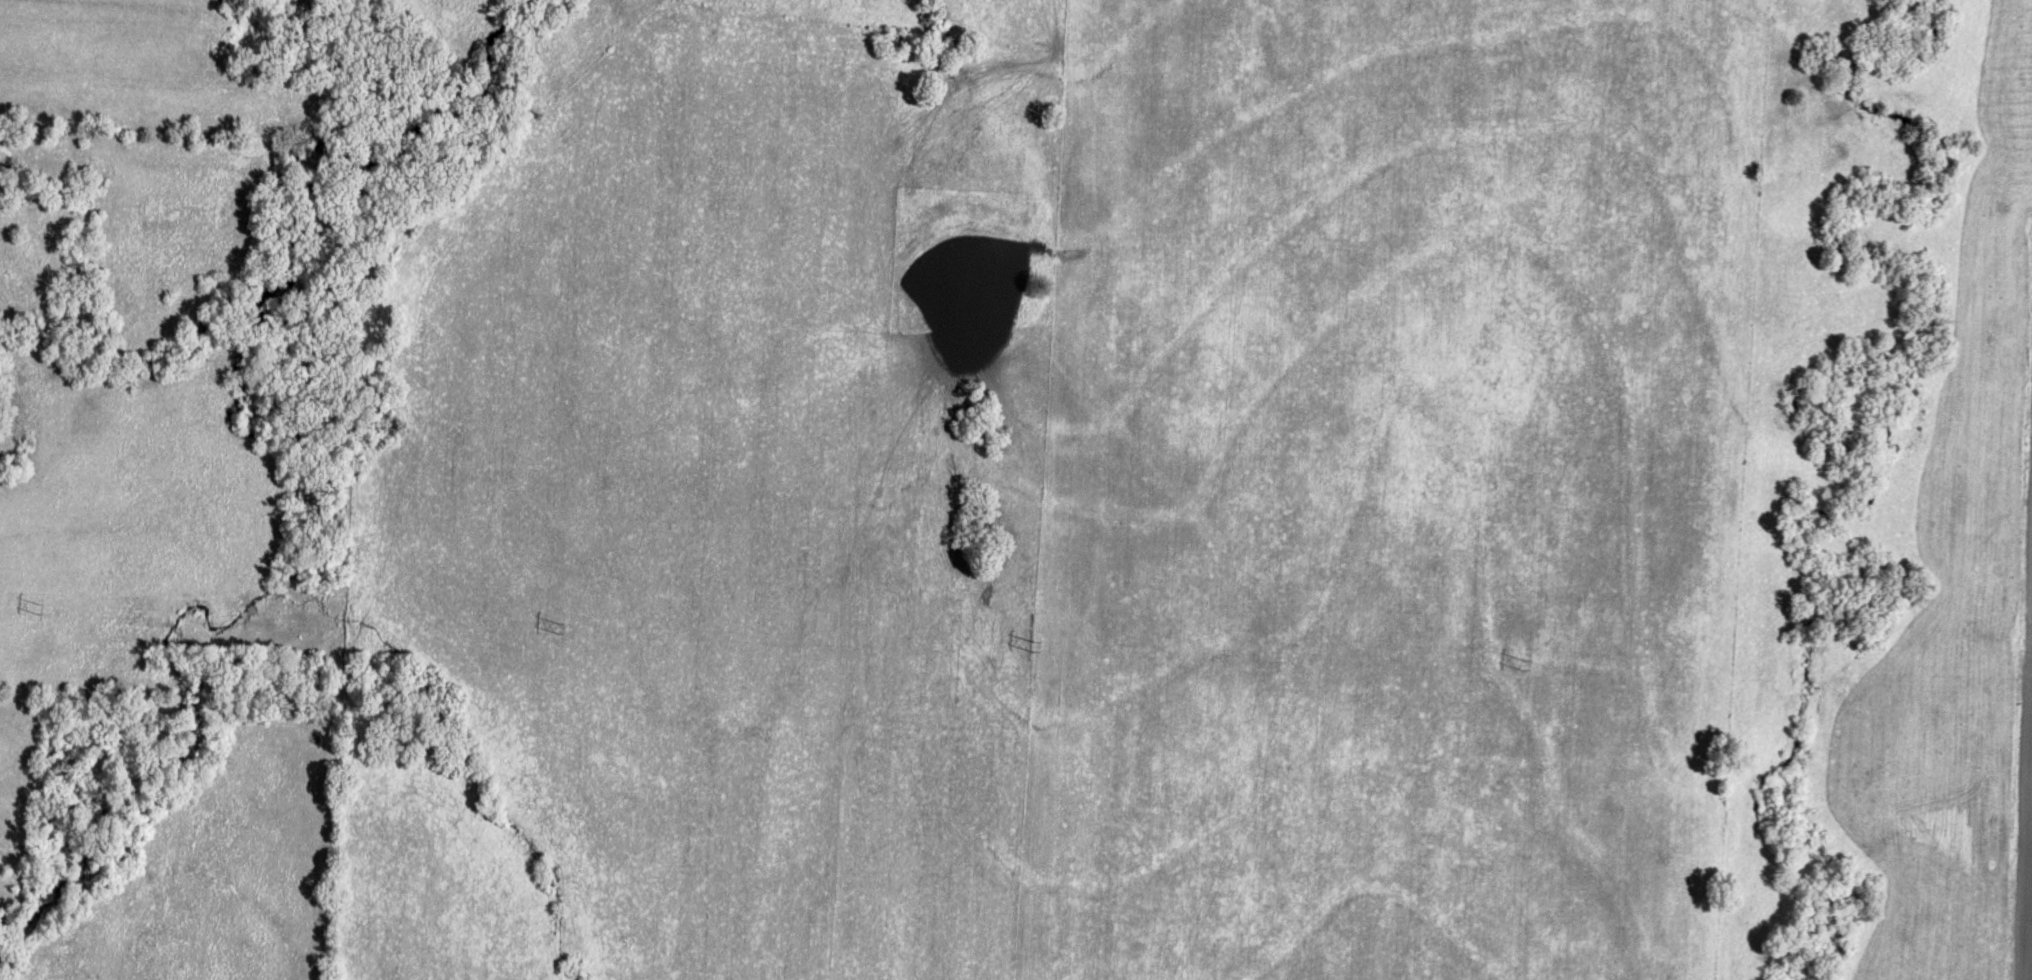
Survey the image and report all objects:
power tower: (35, 604)
power tower: (558, 628)
power tower: (1031, 643)
power tower: (1526, 663)

